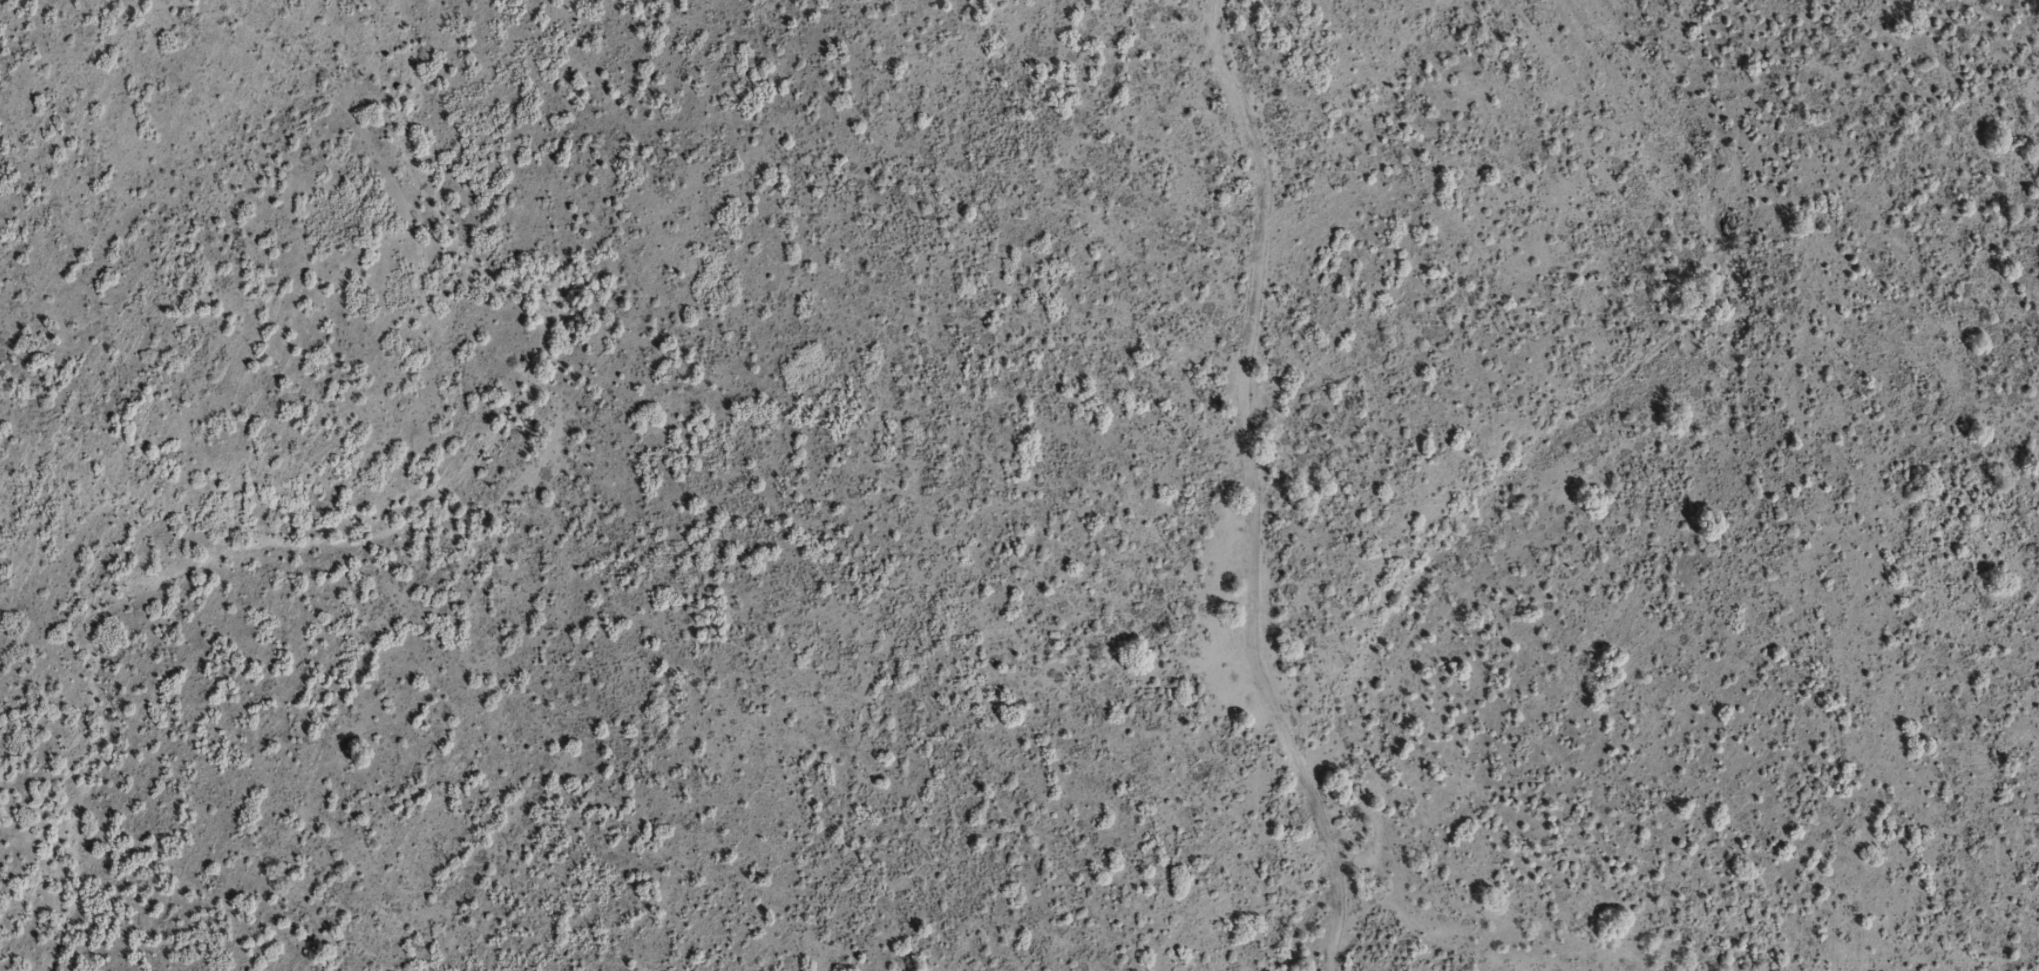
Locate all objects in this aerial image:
road: (1609, 507)

